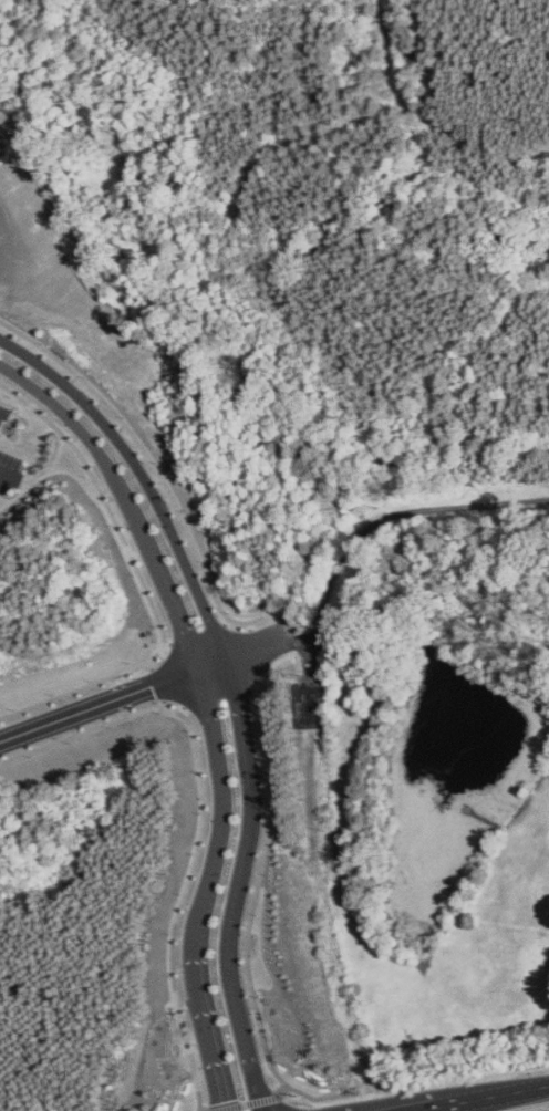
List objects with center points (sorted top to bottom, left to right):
building: (4, 412)
road: (6, 471)
road: (355, 538)
road: (205, 663)
road: (227, 688)
road: (94, 702)
building: (309, 706)
road: (198, 710)
road: (487, 1099)

